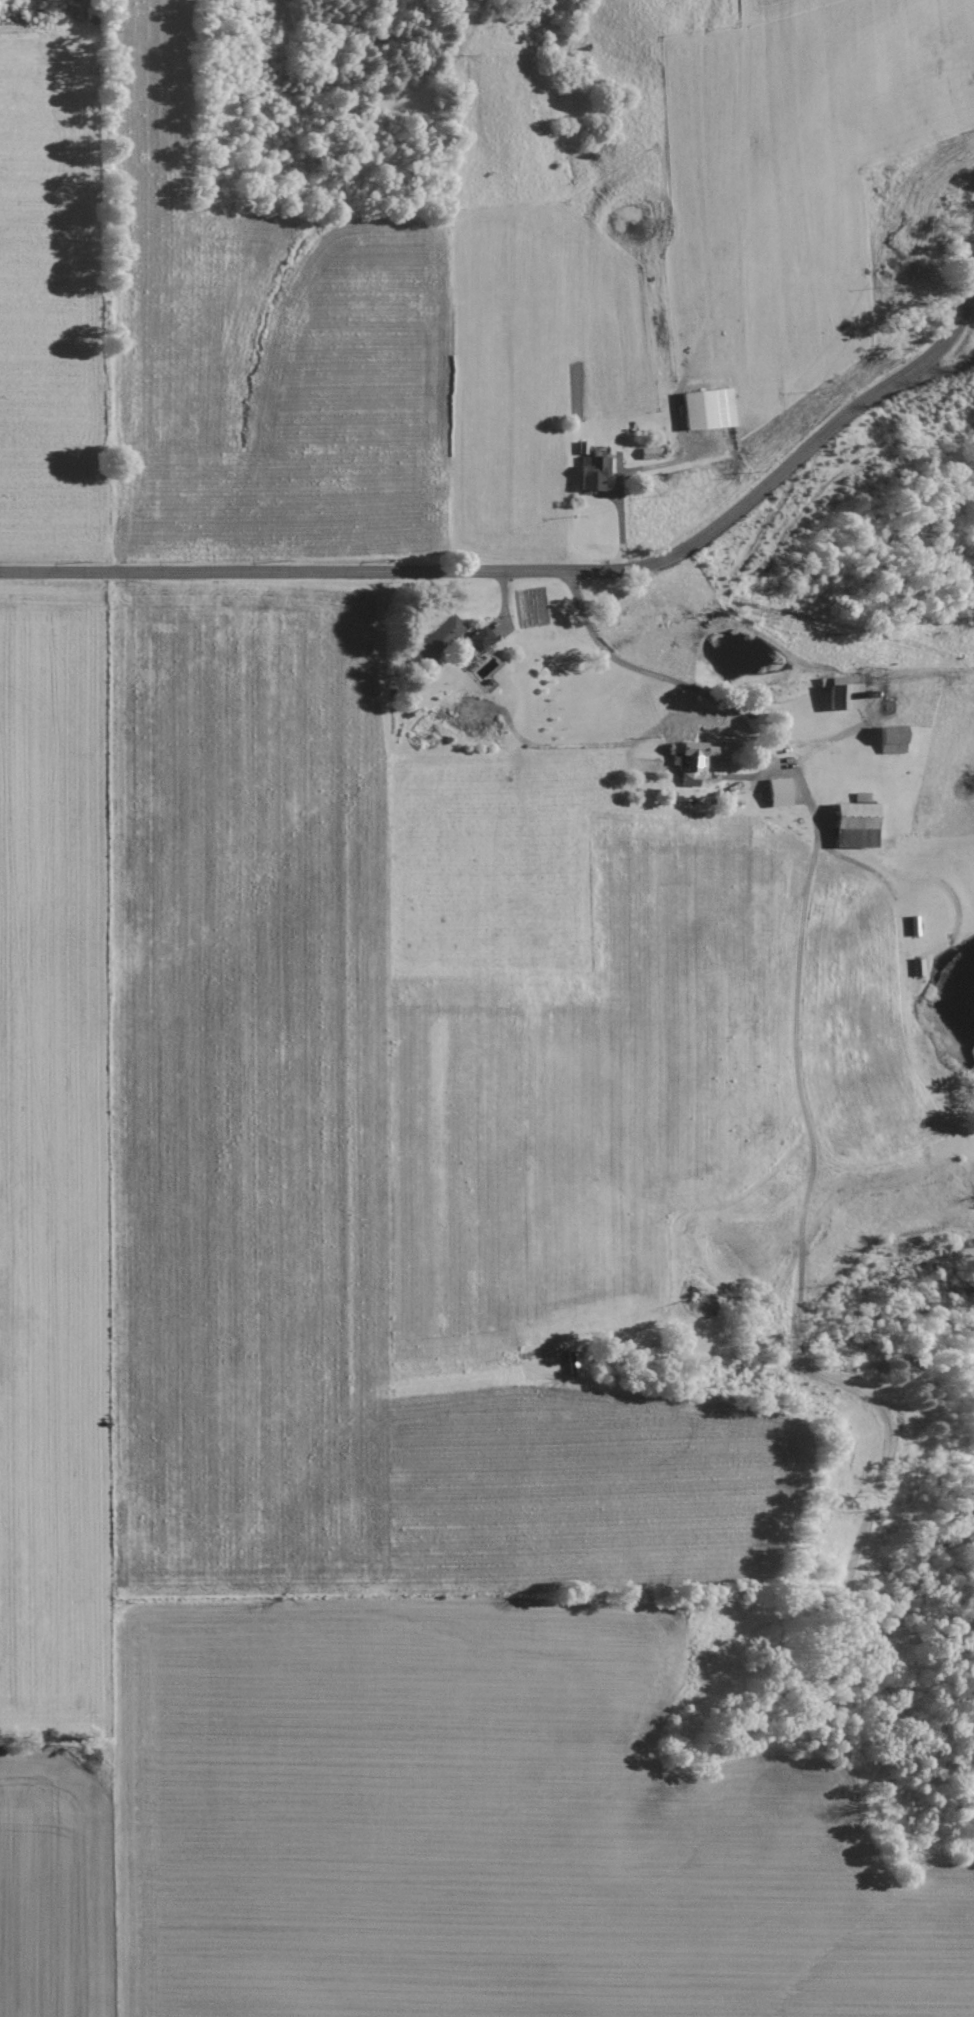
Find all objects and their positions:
building: (707, 409)
building: (648, 453)
road: (550, 572)
road: (726, 604)
building: (438, 638)
building: (479, 638)
building: (844, 693)
building: (891, 740)
building: (691, 760)
building: (778, 789)
building: (855, 825)
building: (916, 968)

